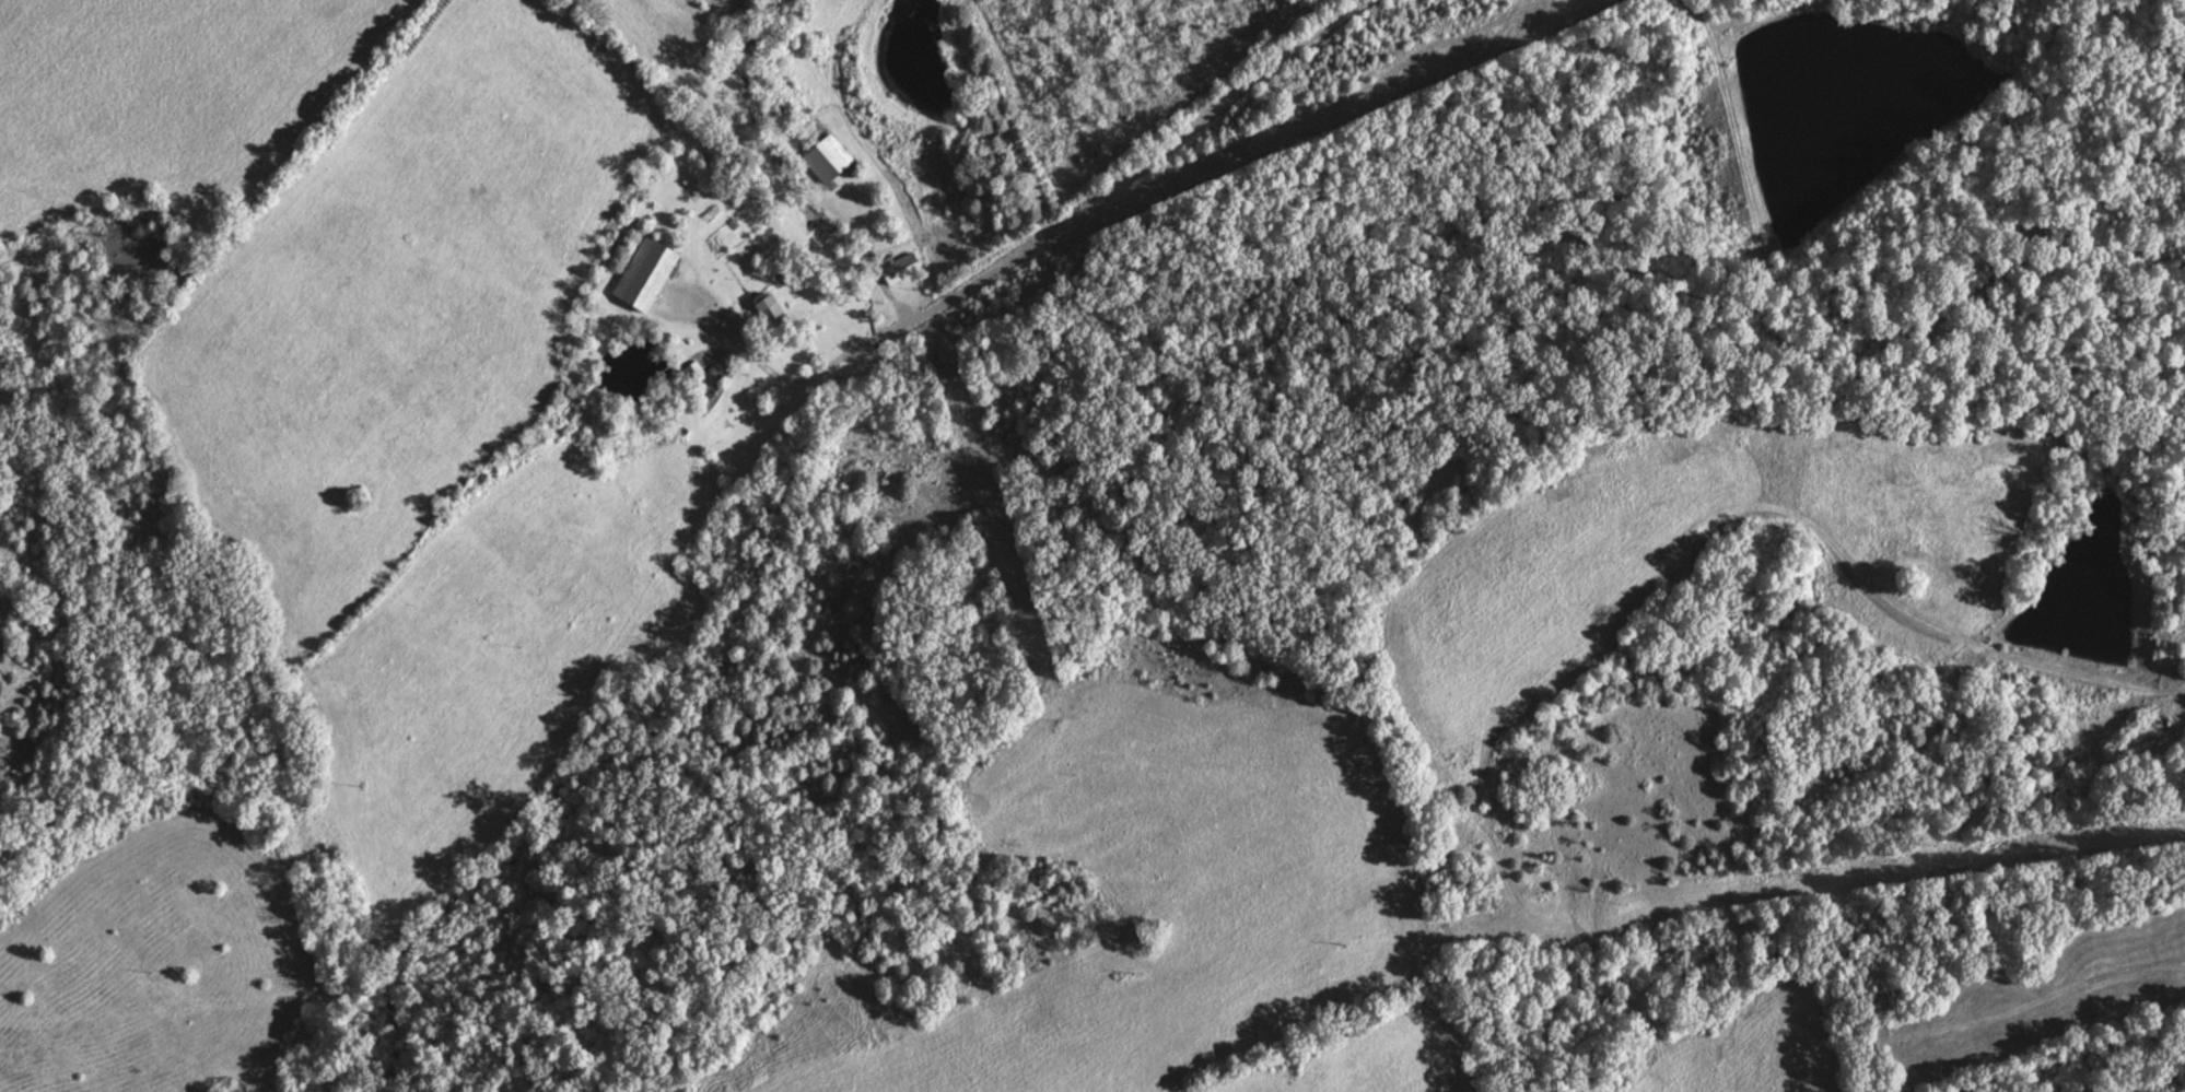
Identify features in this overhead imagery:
building: (829, 158)
road: (1030, 246)
road: (849, 249)
building: (649, 273)
building: (774, 313)
building: (696, 372)
building: (667, 630)

